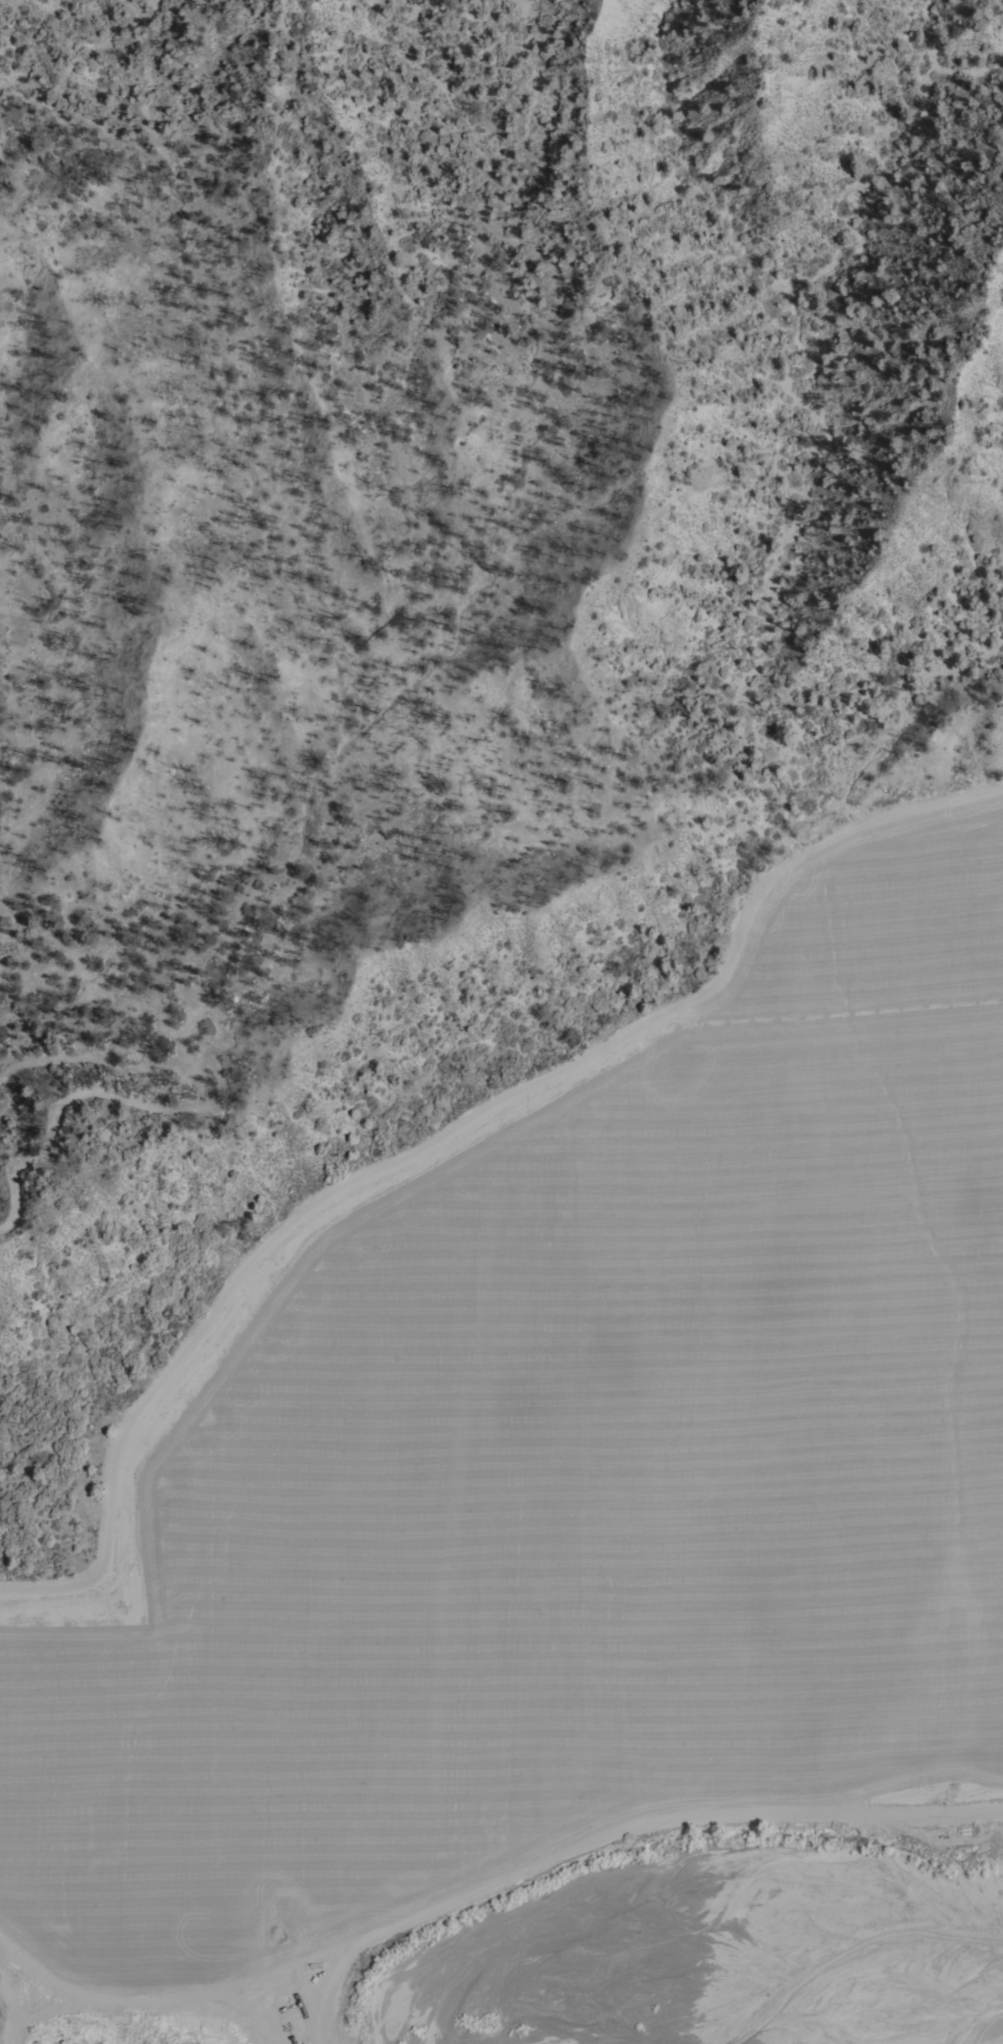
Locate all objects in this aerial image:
road: (943, 1823)

